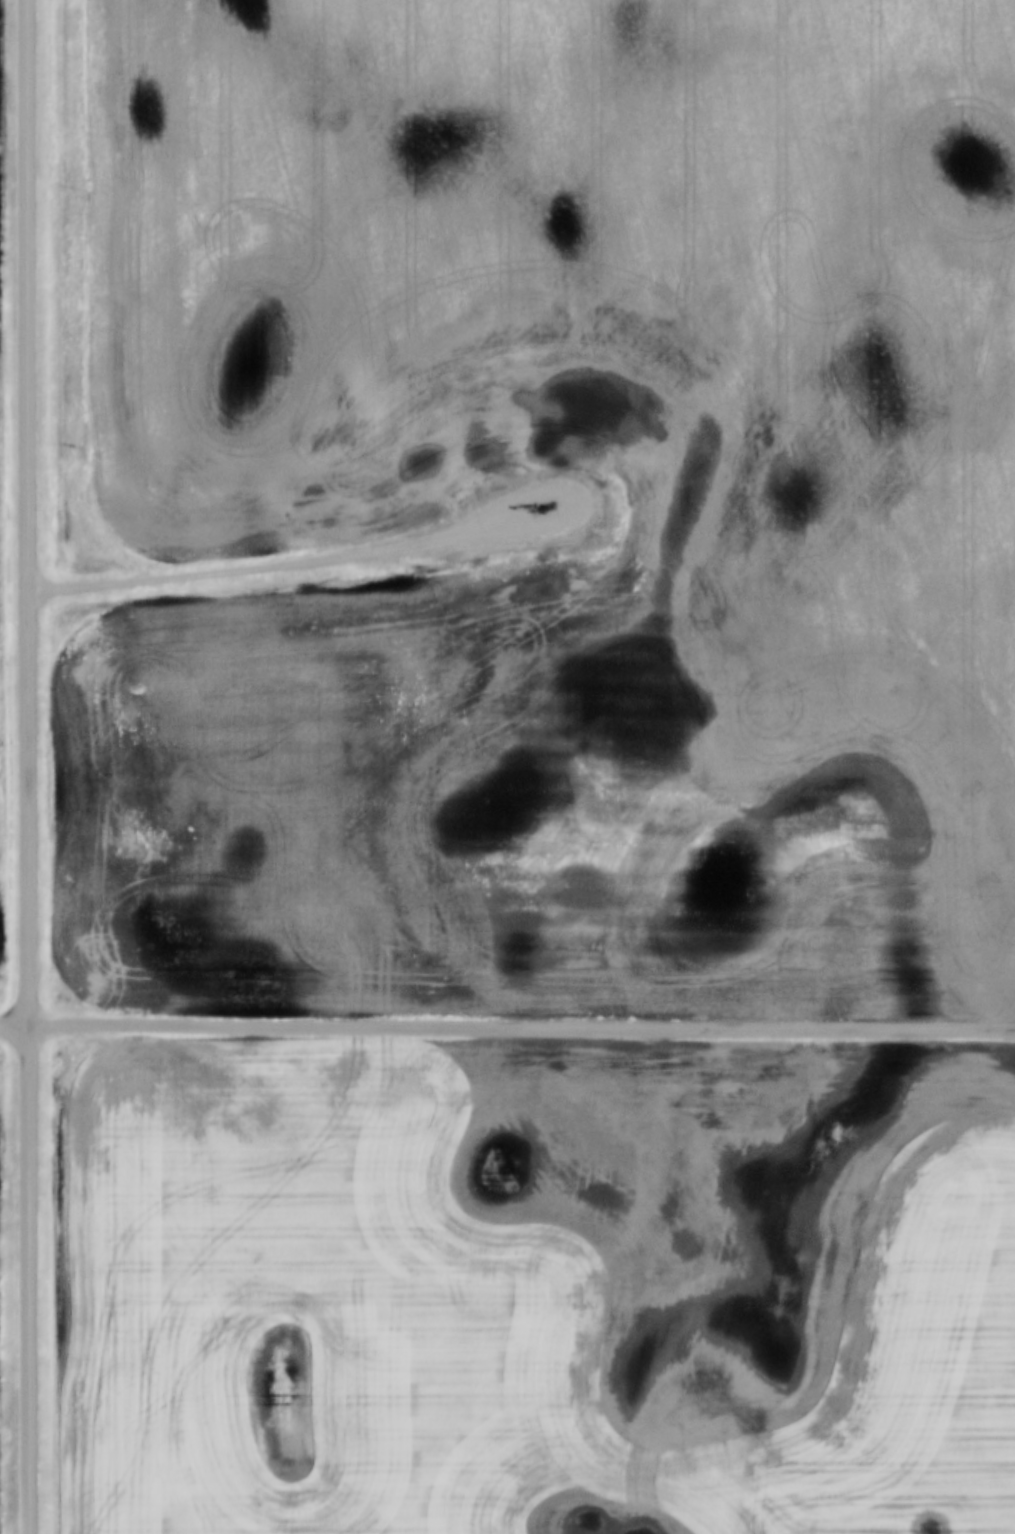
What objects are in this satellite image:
road: (303, 556)
road: (29, 767)
road: (14, 1020)
road: (521, 1022)

